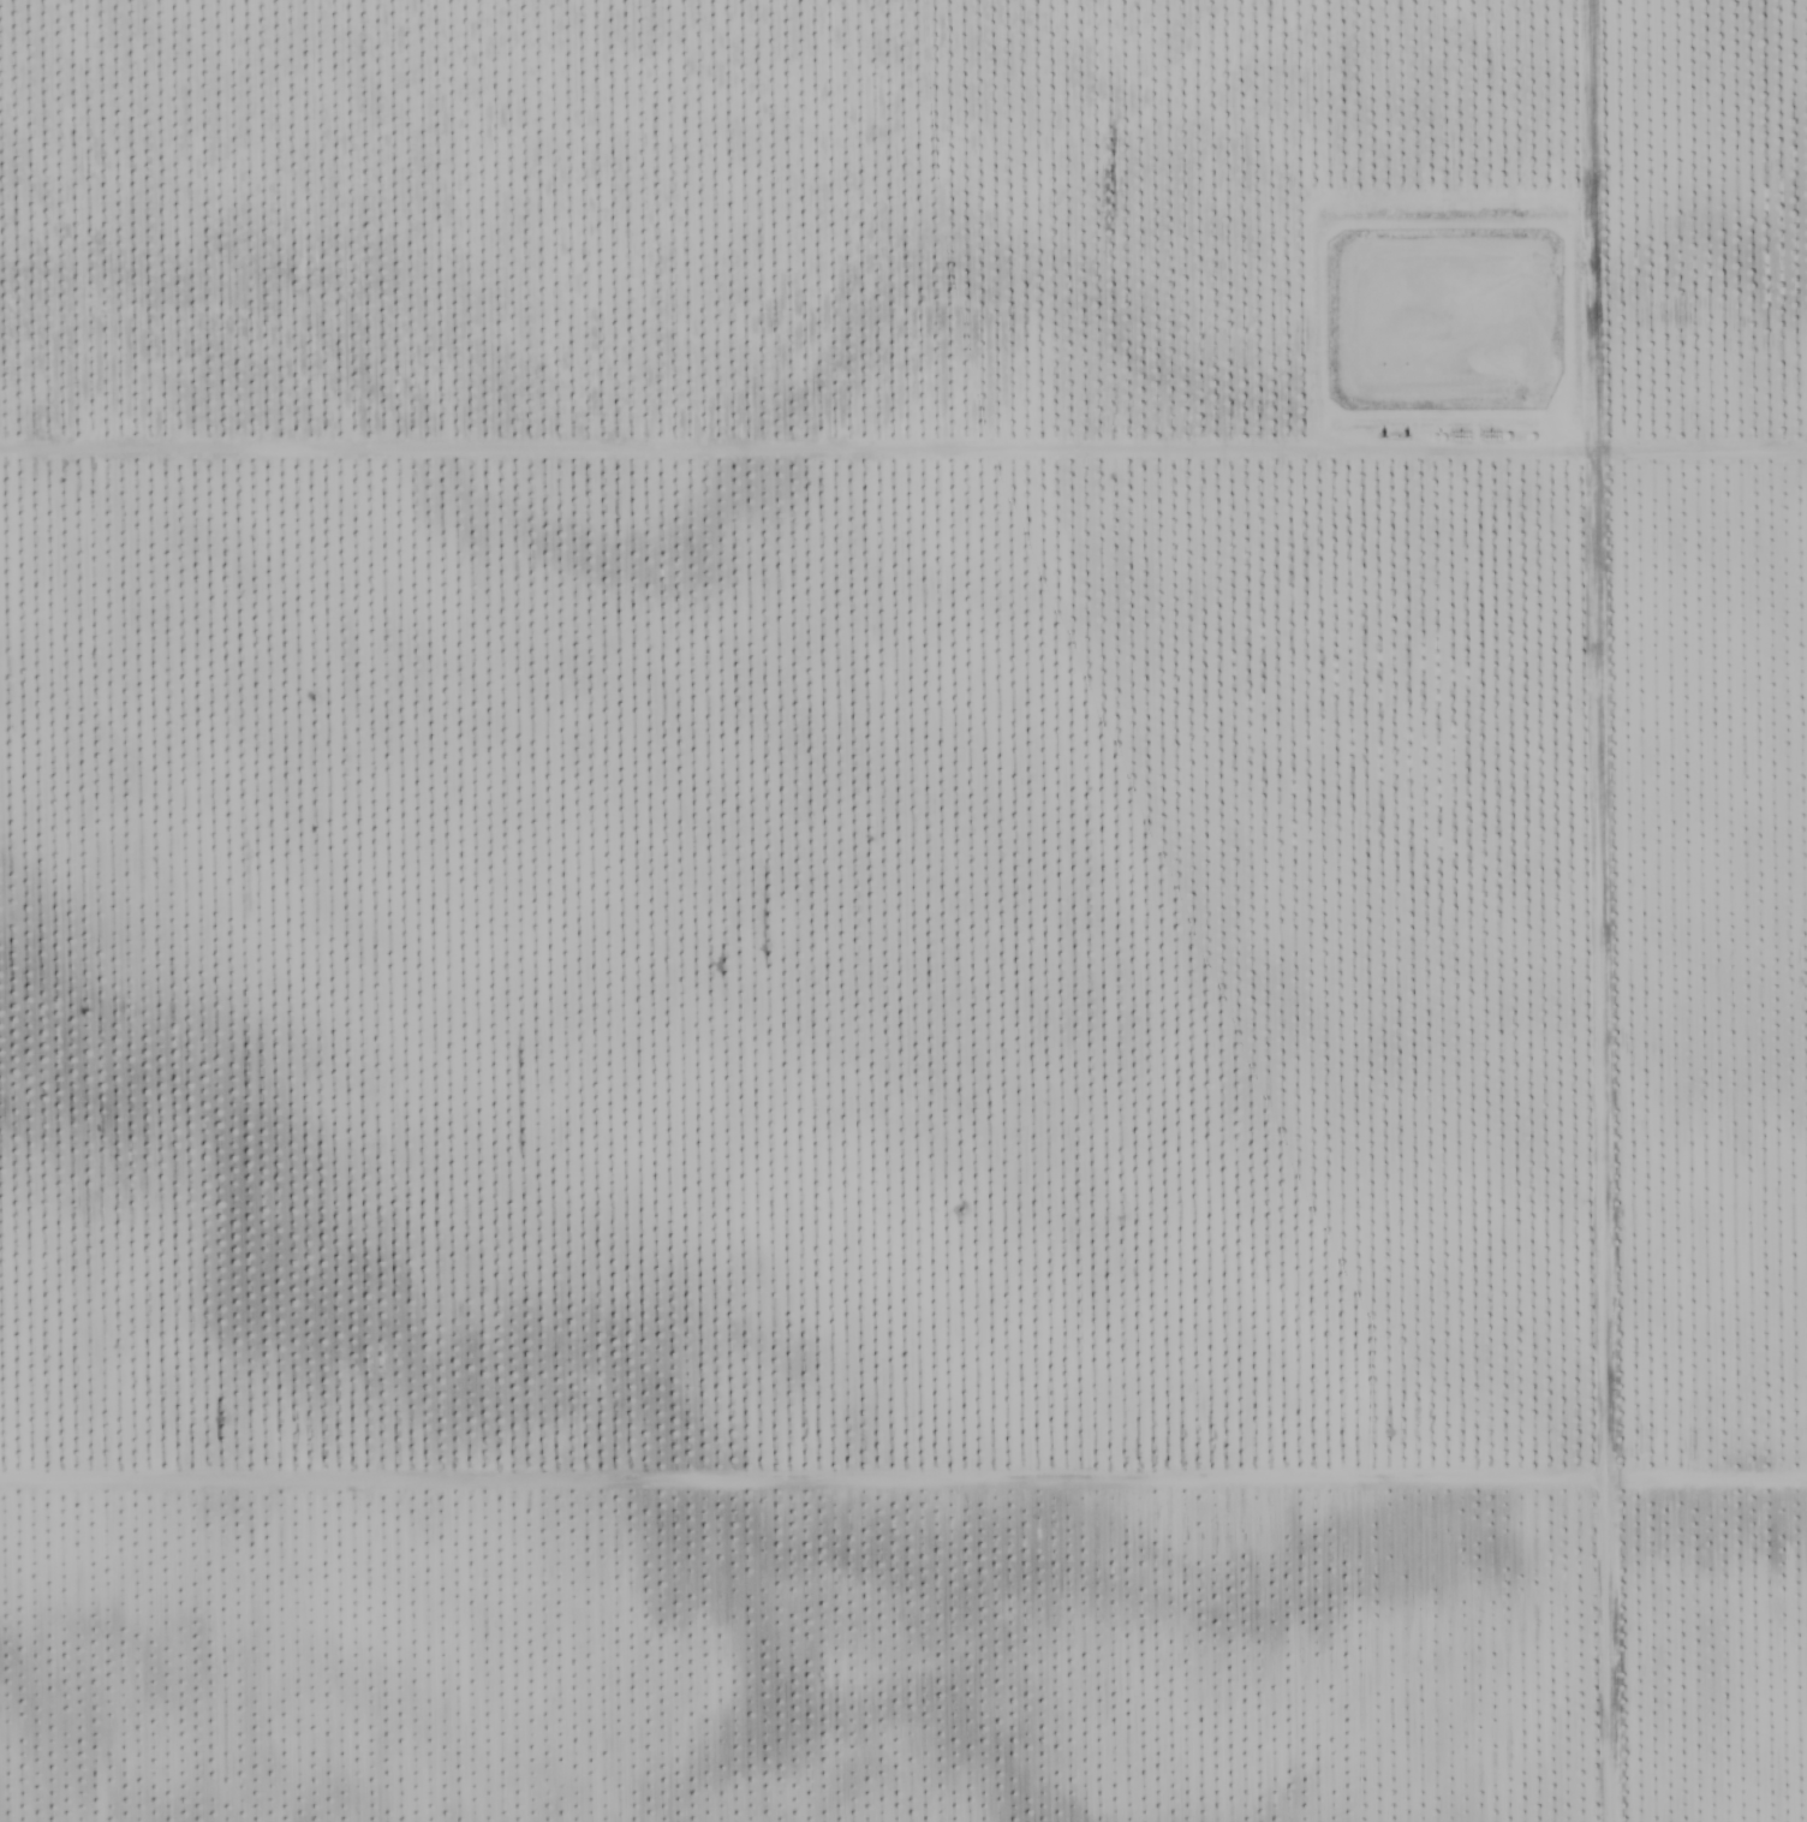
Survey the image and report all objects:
crop: (1696, 532)

